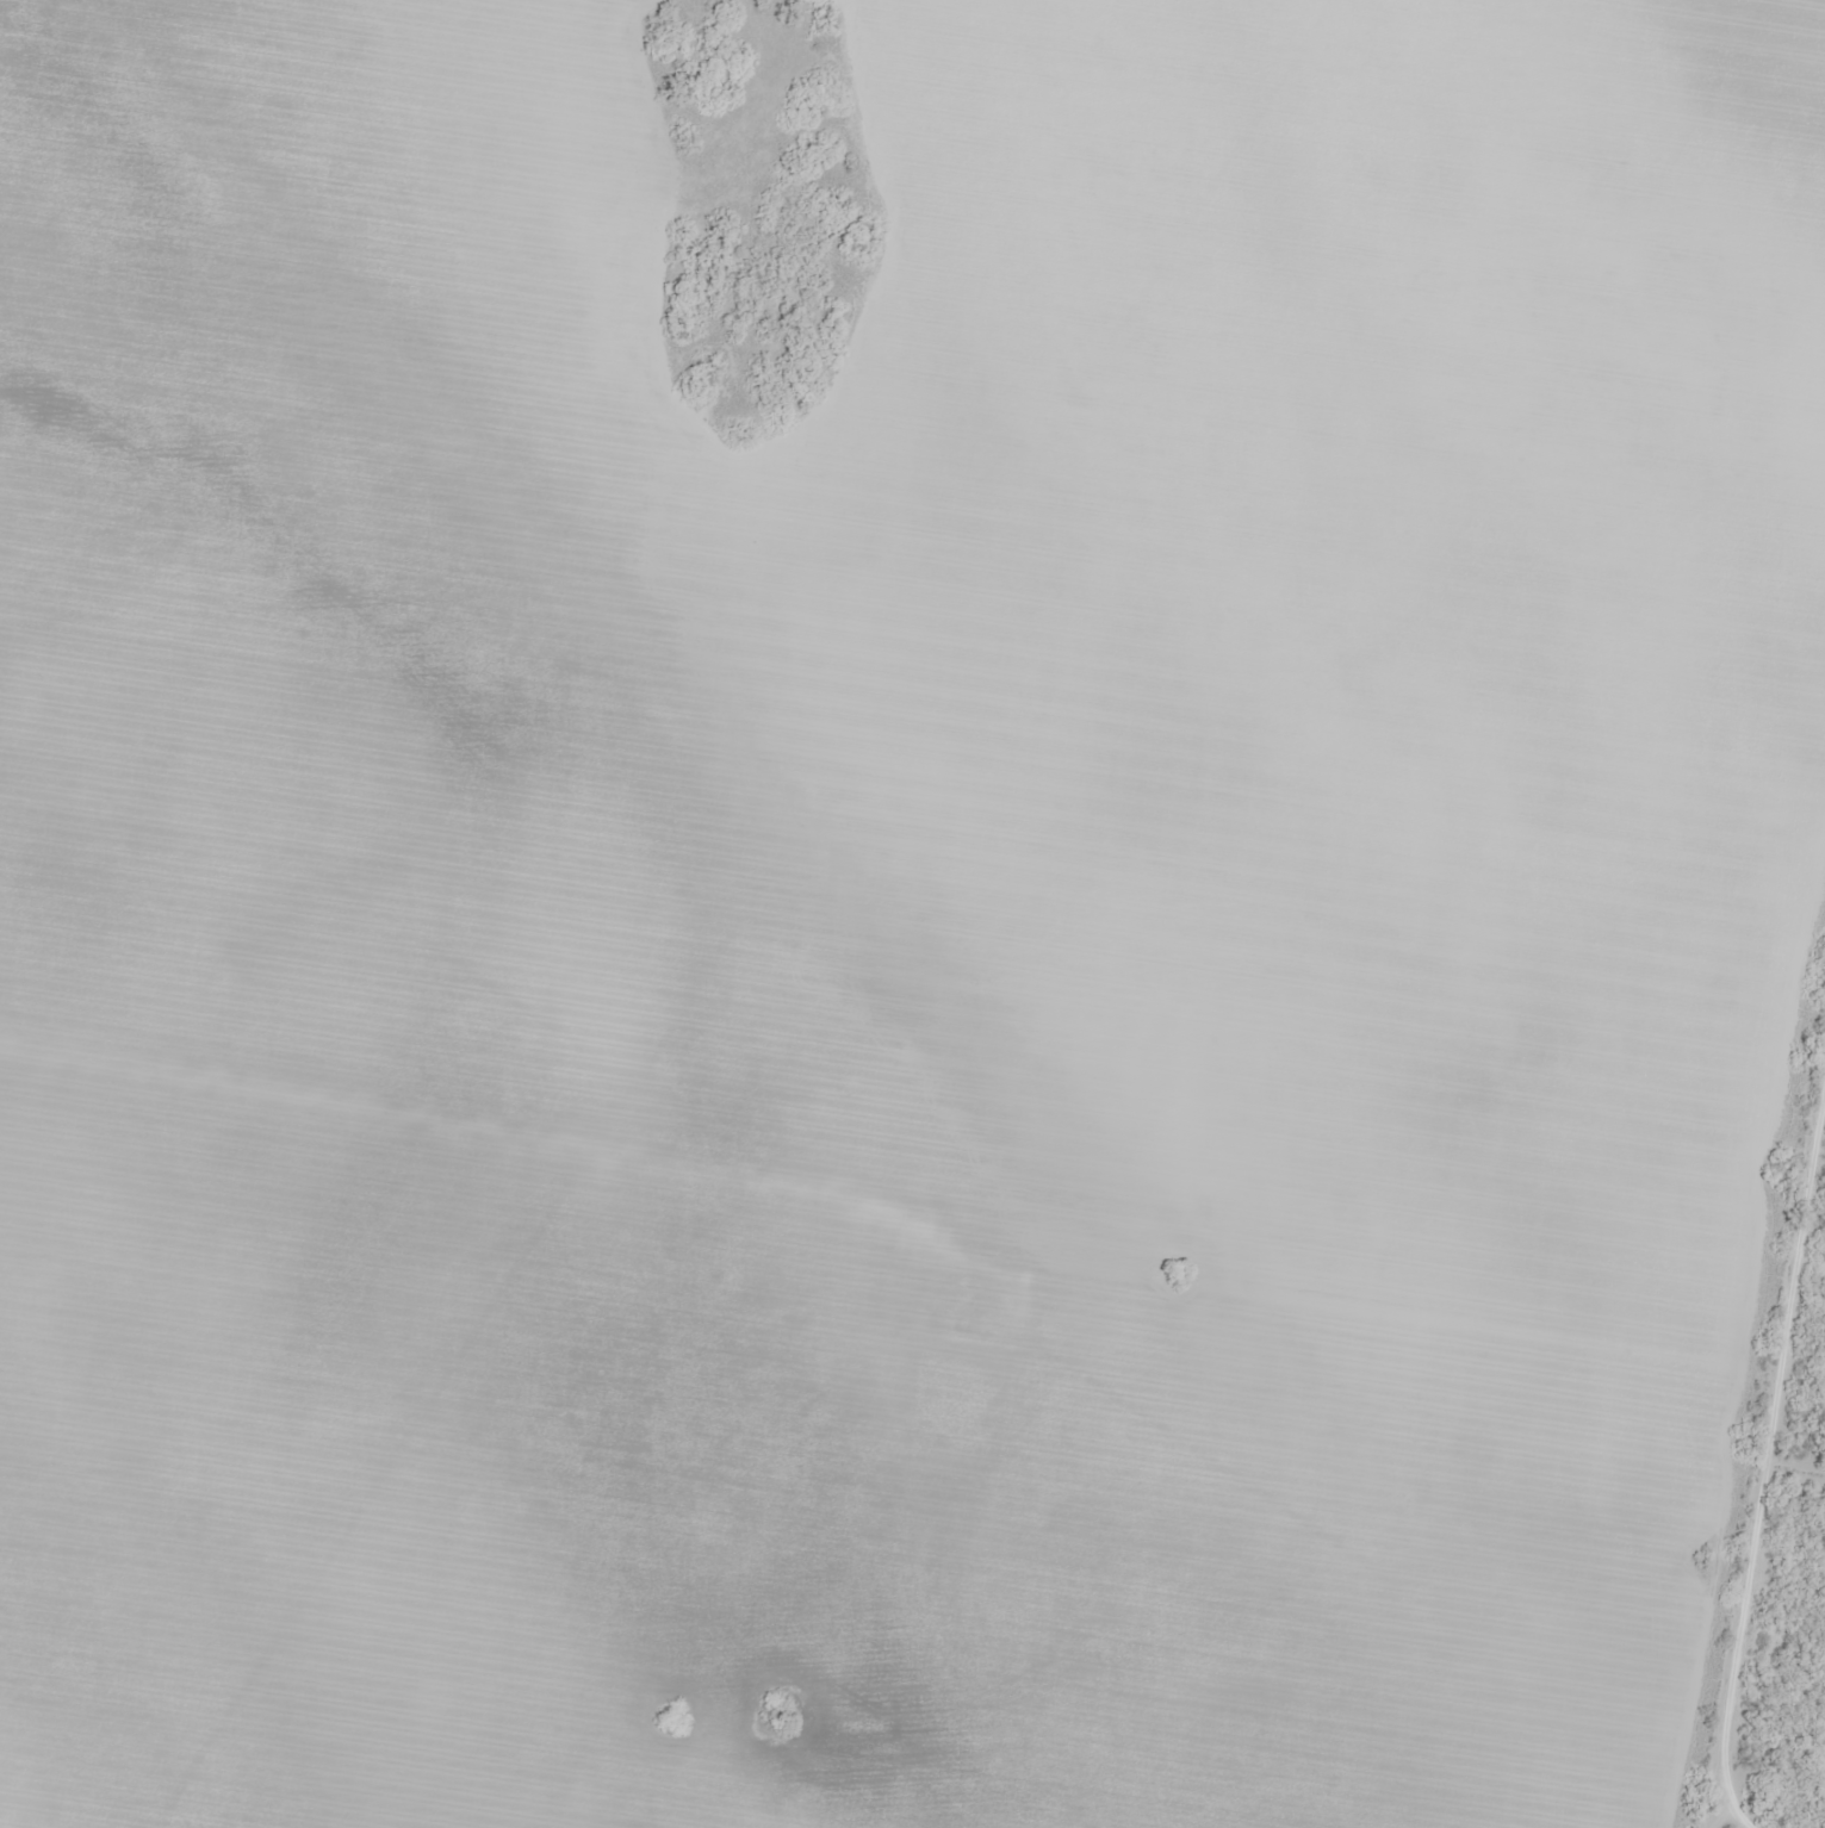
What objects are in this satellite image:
road: (882, 919)
road: (551, 1194)

